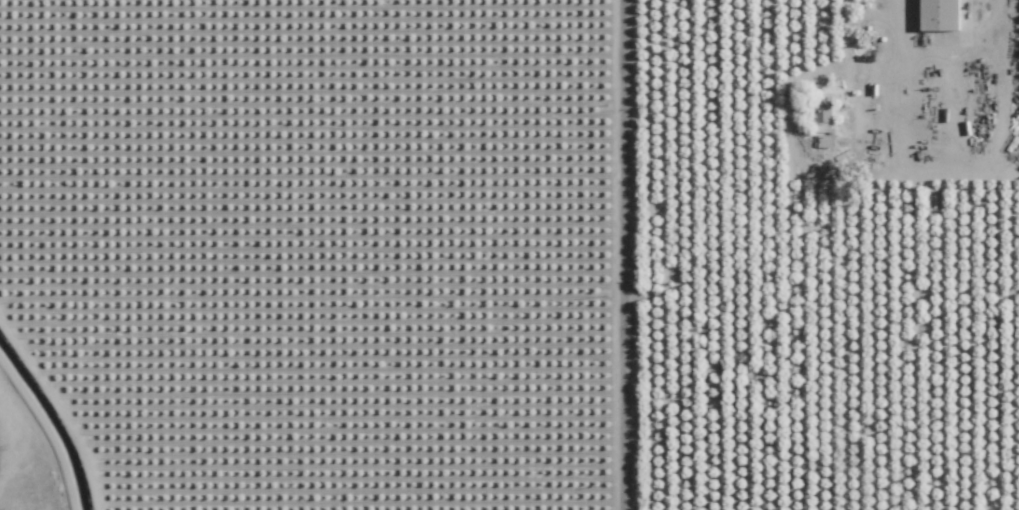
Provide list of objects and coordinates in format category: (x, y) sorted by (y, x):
building: (940, 14)
road: (940, 54)
road: (849, 64)
building: (822, 114)
building: (825, 140)
road: (623, 255)

